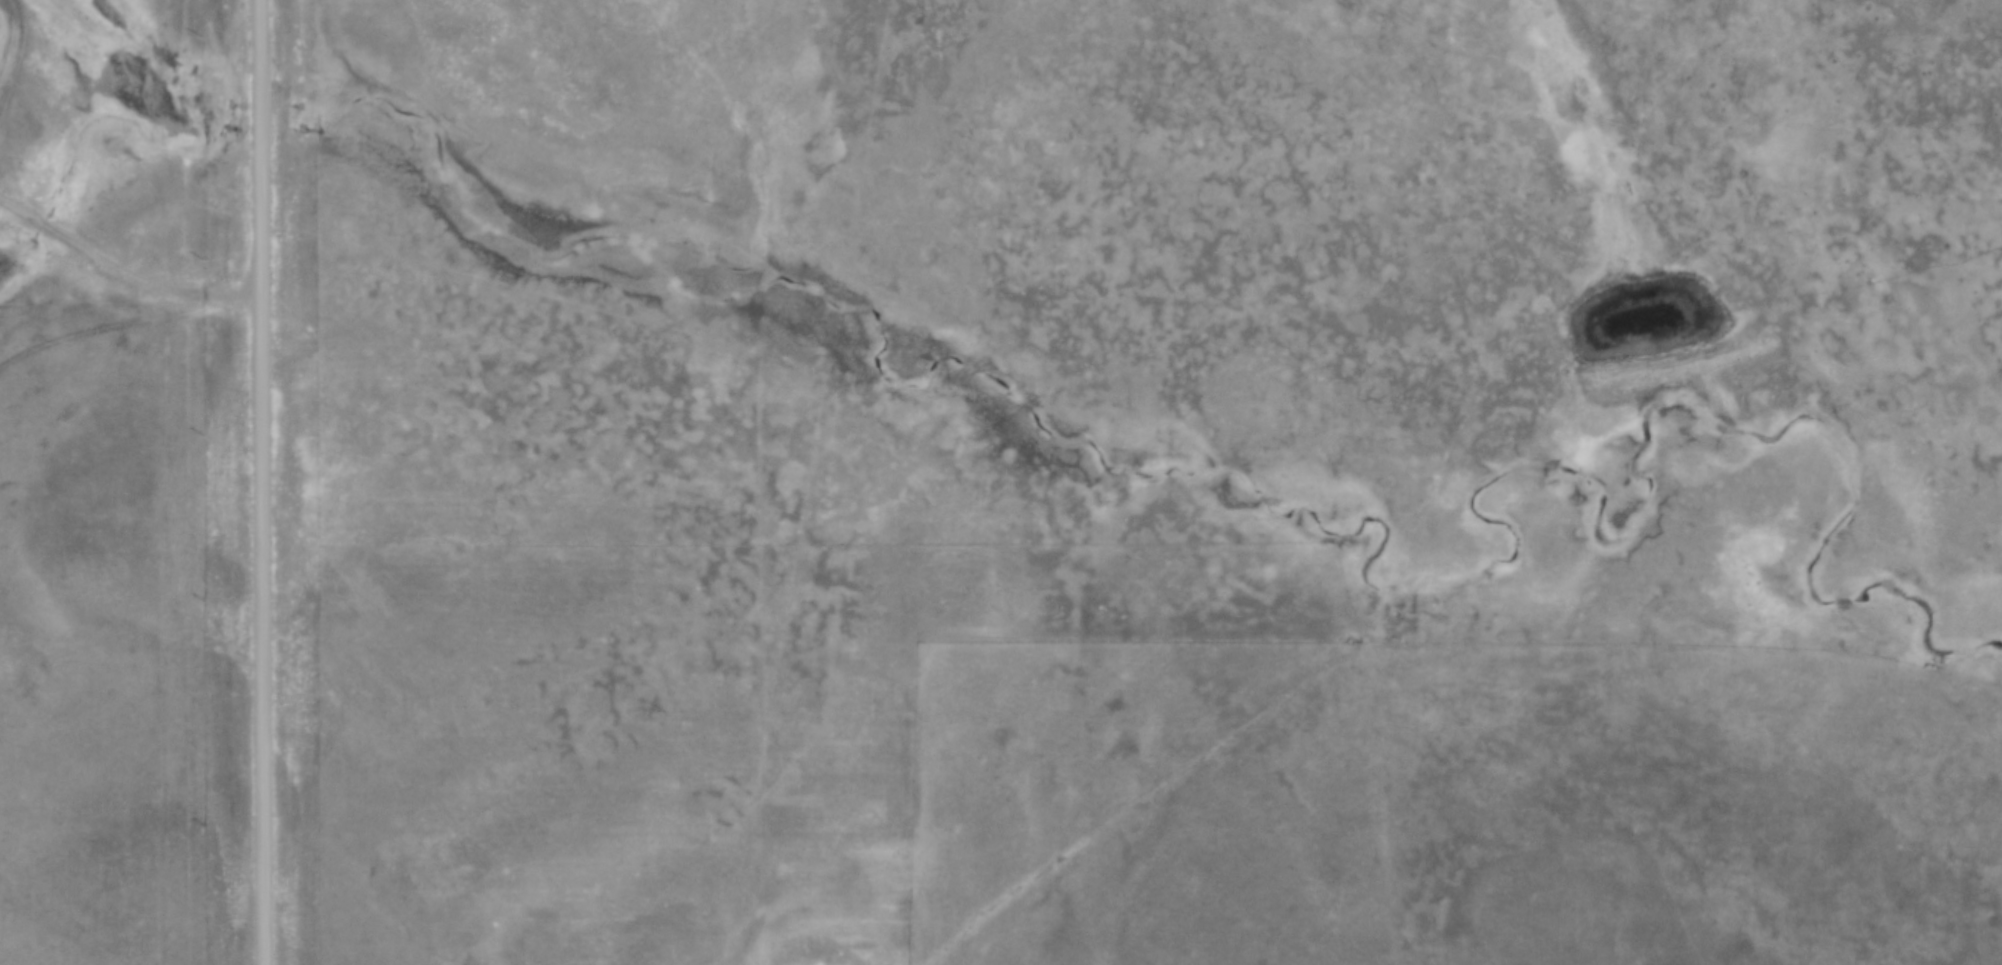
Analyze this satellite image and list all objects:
road: (1396, 19)
road: (127, 273)
road: (261, 482)

